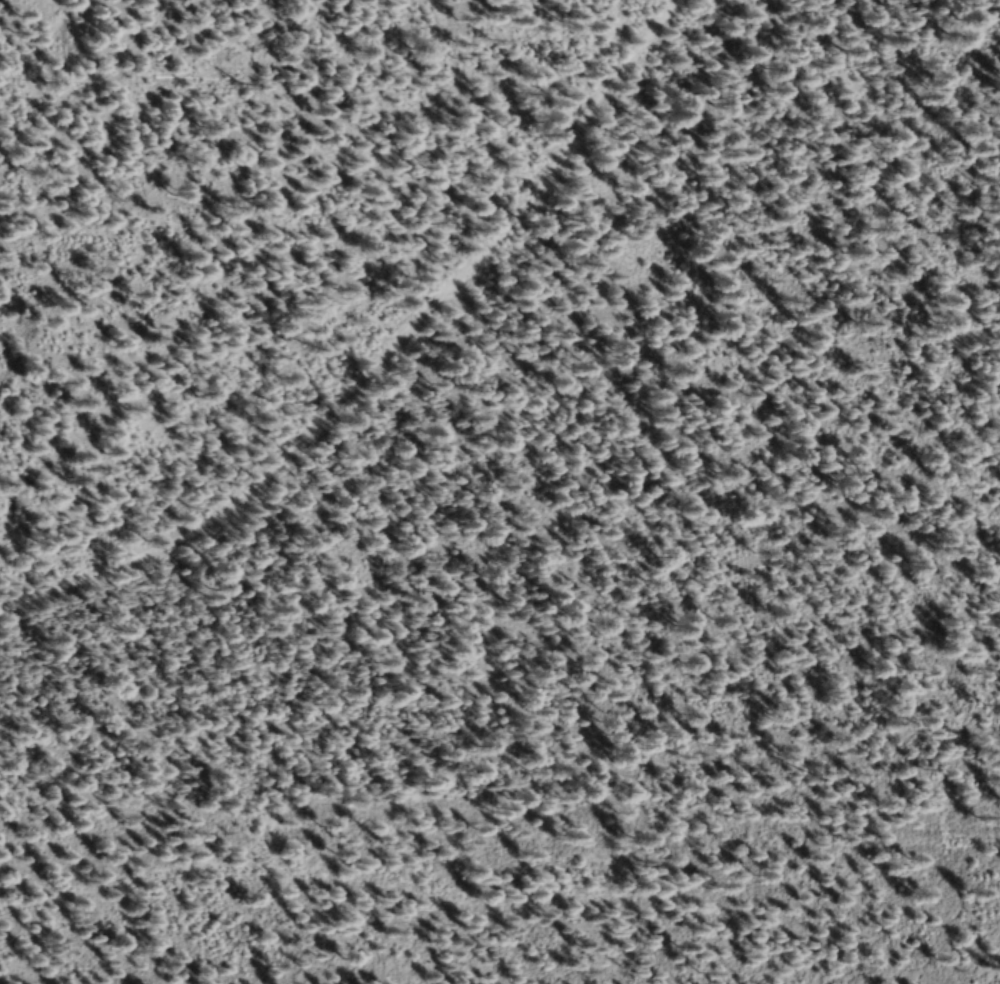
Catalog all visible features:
road: (404, 369)
road: (498, 905)

